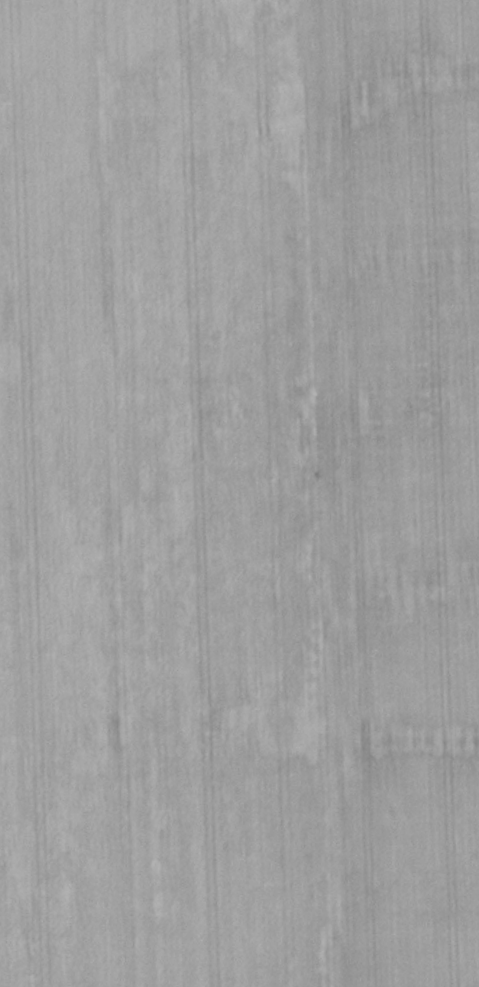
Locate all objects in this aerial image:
crop: (239, 493)

